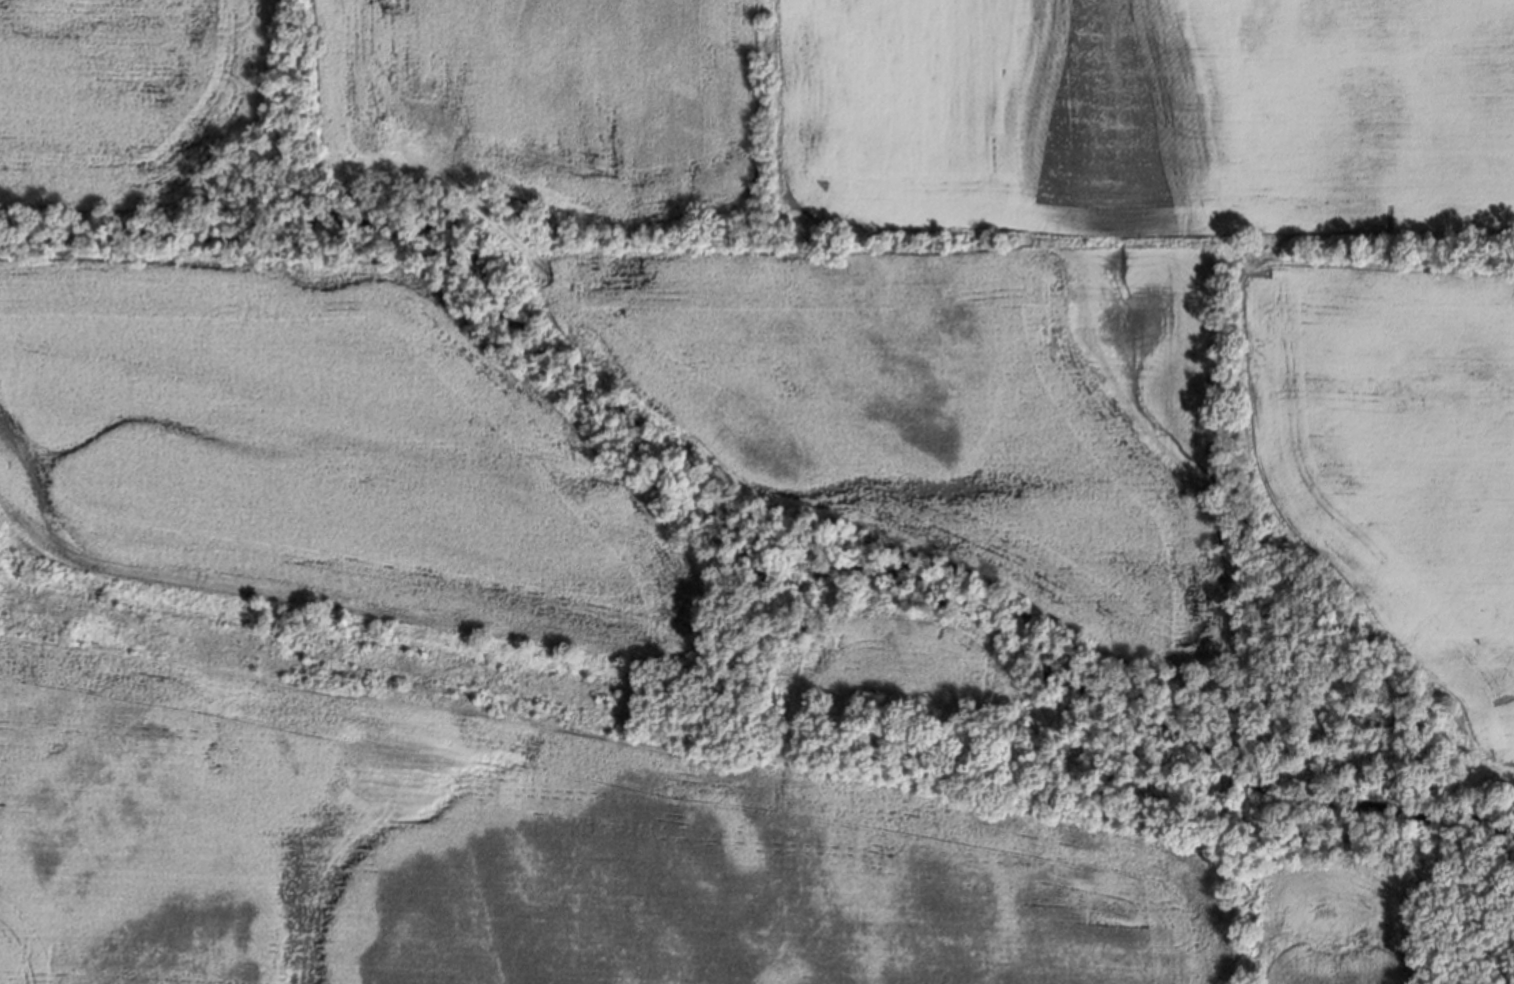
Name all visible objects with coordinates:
river: (476, 280)
river: (1130, 719)
river: (1480, 822)

